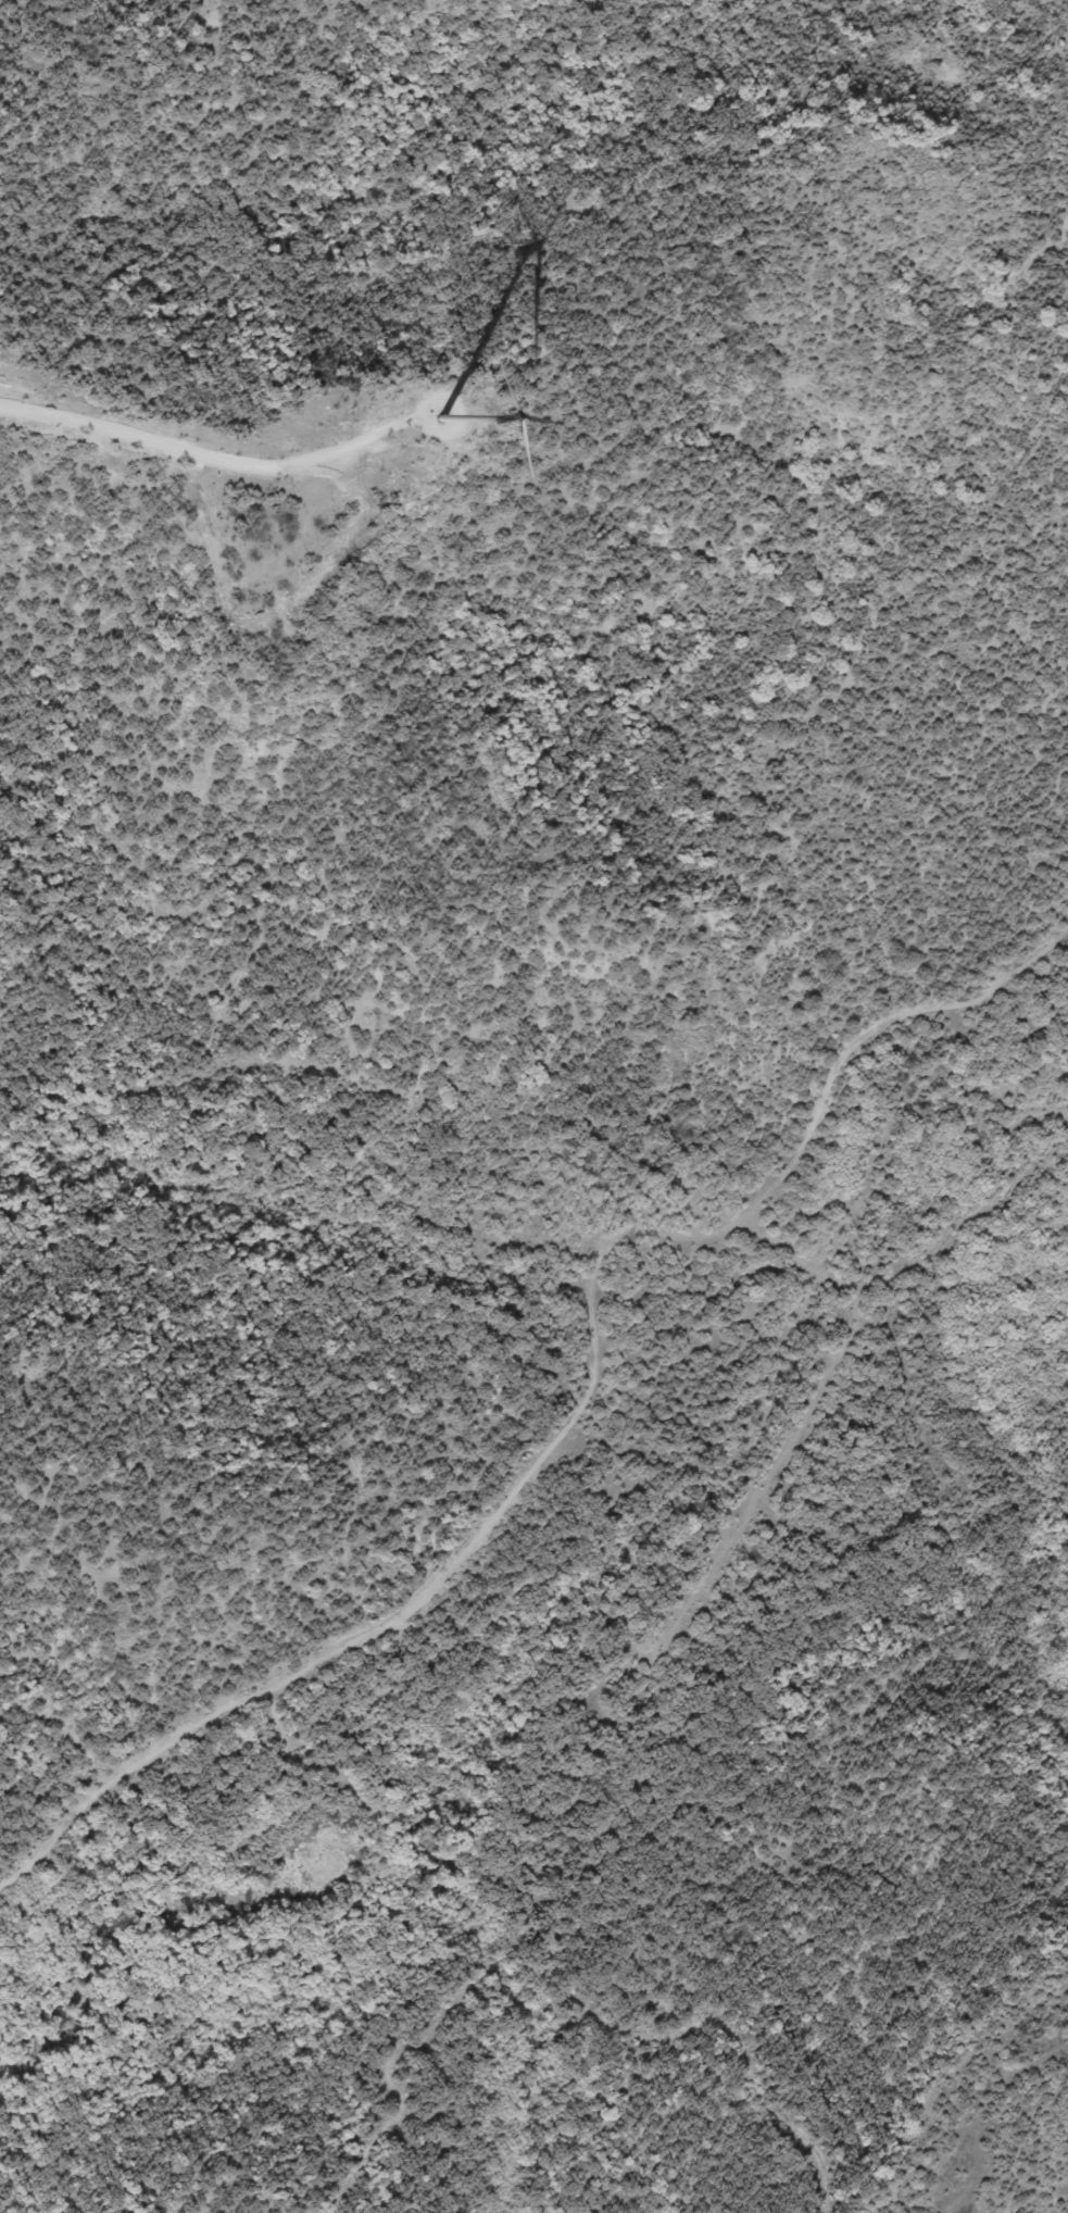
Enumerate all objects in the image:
wind turbine: (441, 417)
road: (211, 455)
road: (304, 1666)

